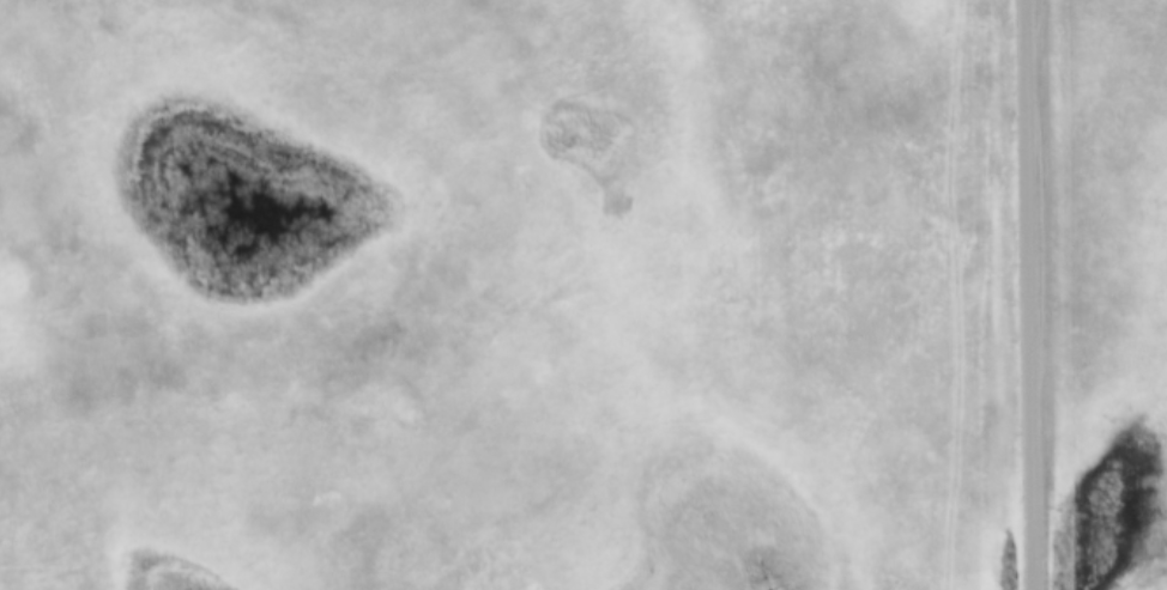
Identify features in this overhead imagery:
road: (1035, 294)

